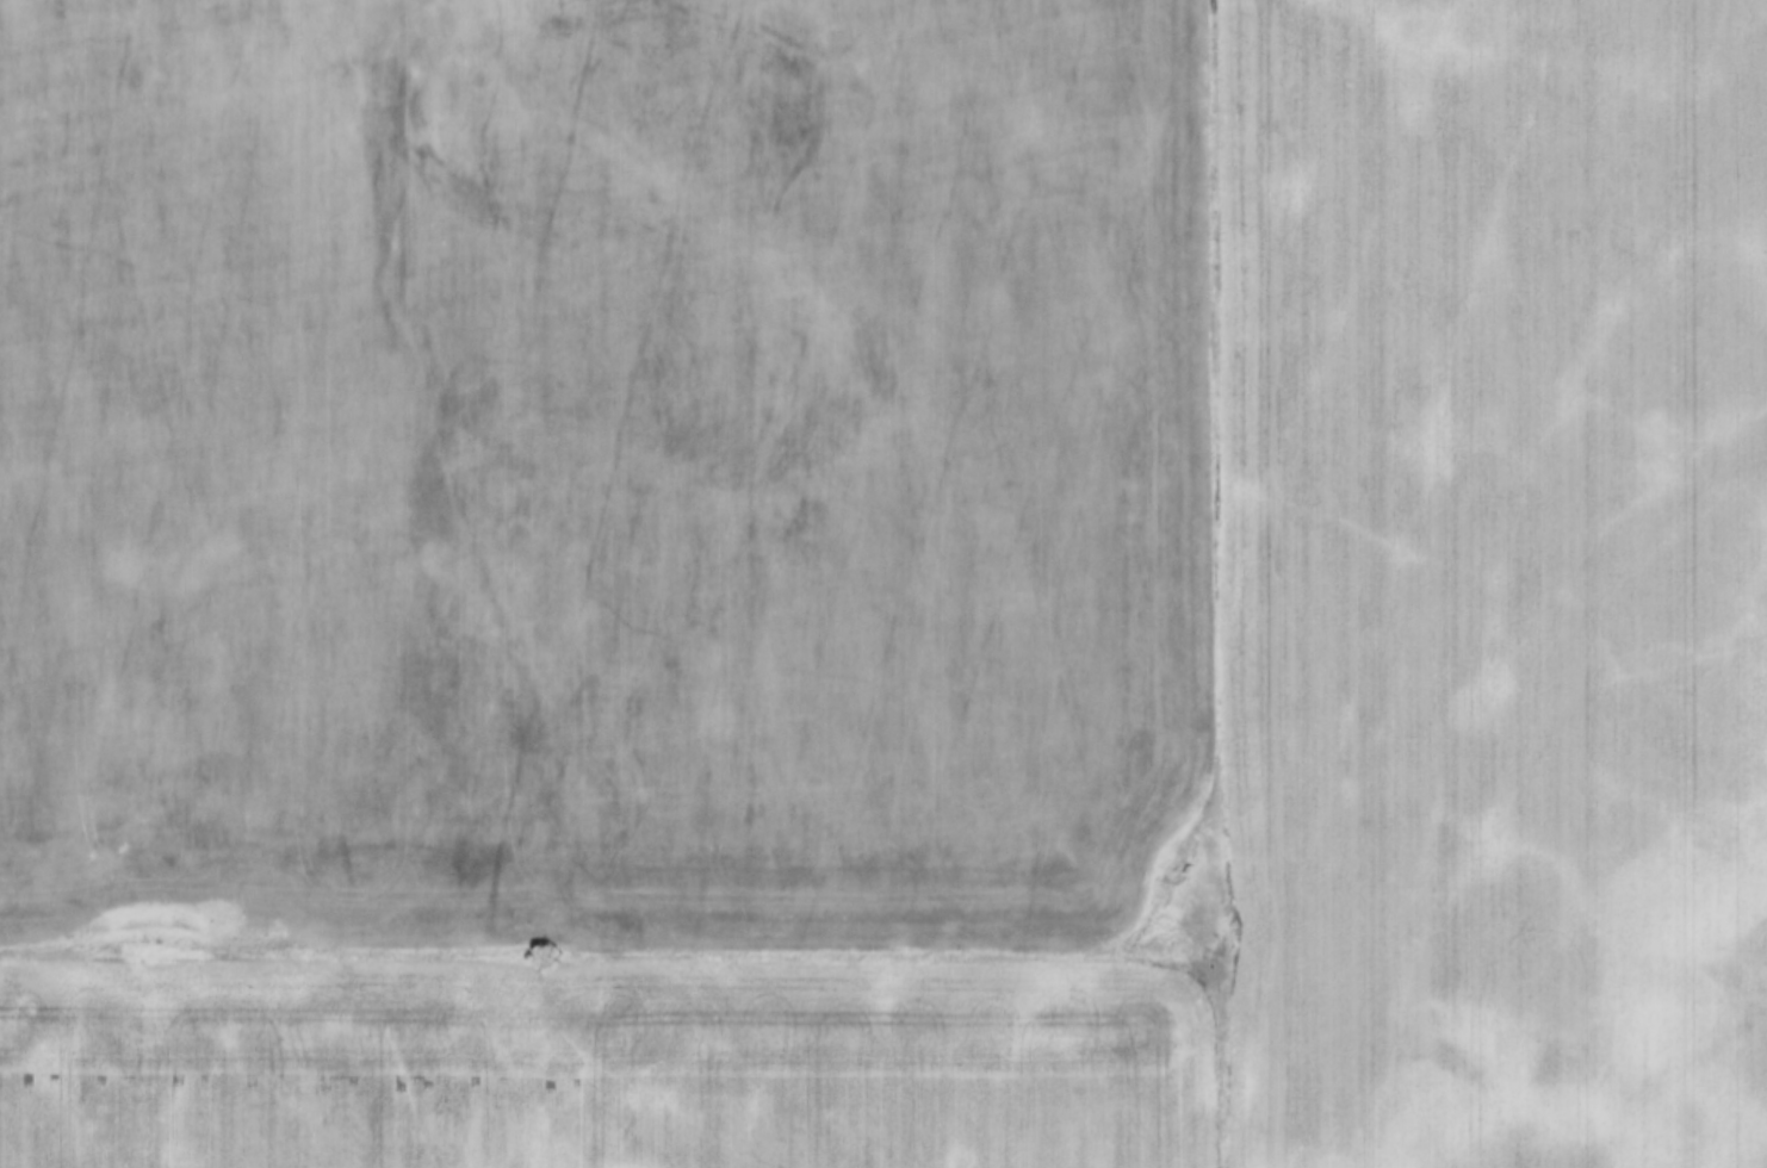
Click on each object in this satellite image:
road: (1210, 837)
road: (557, 939)

